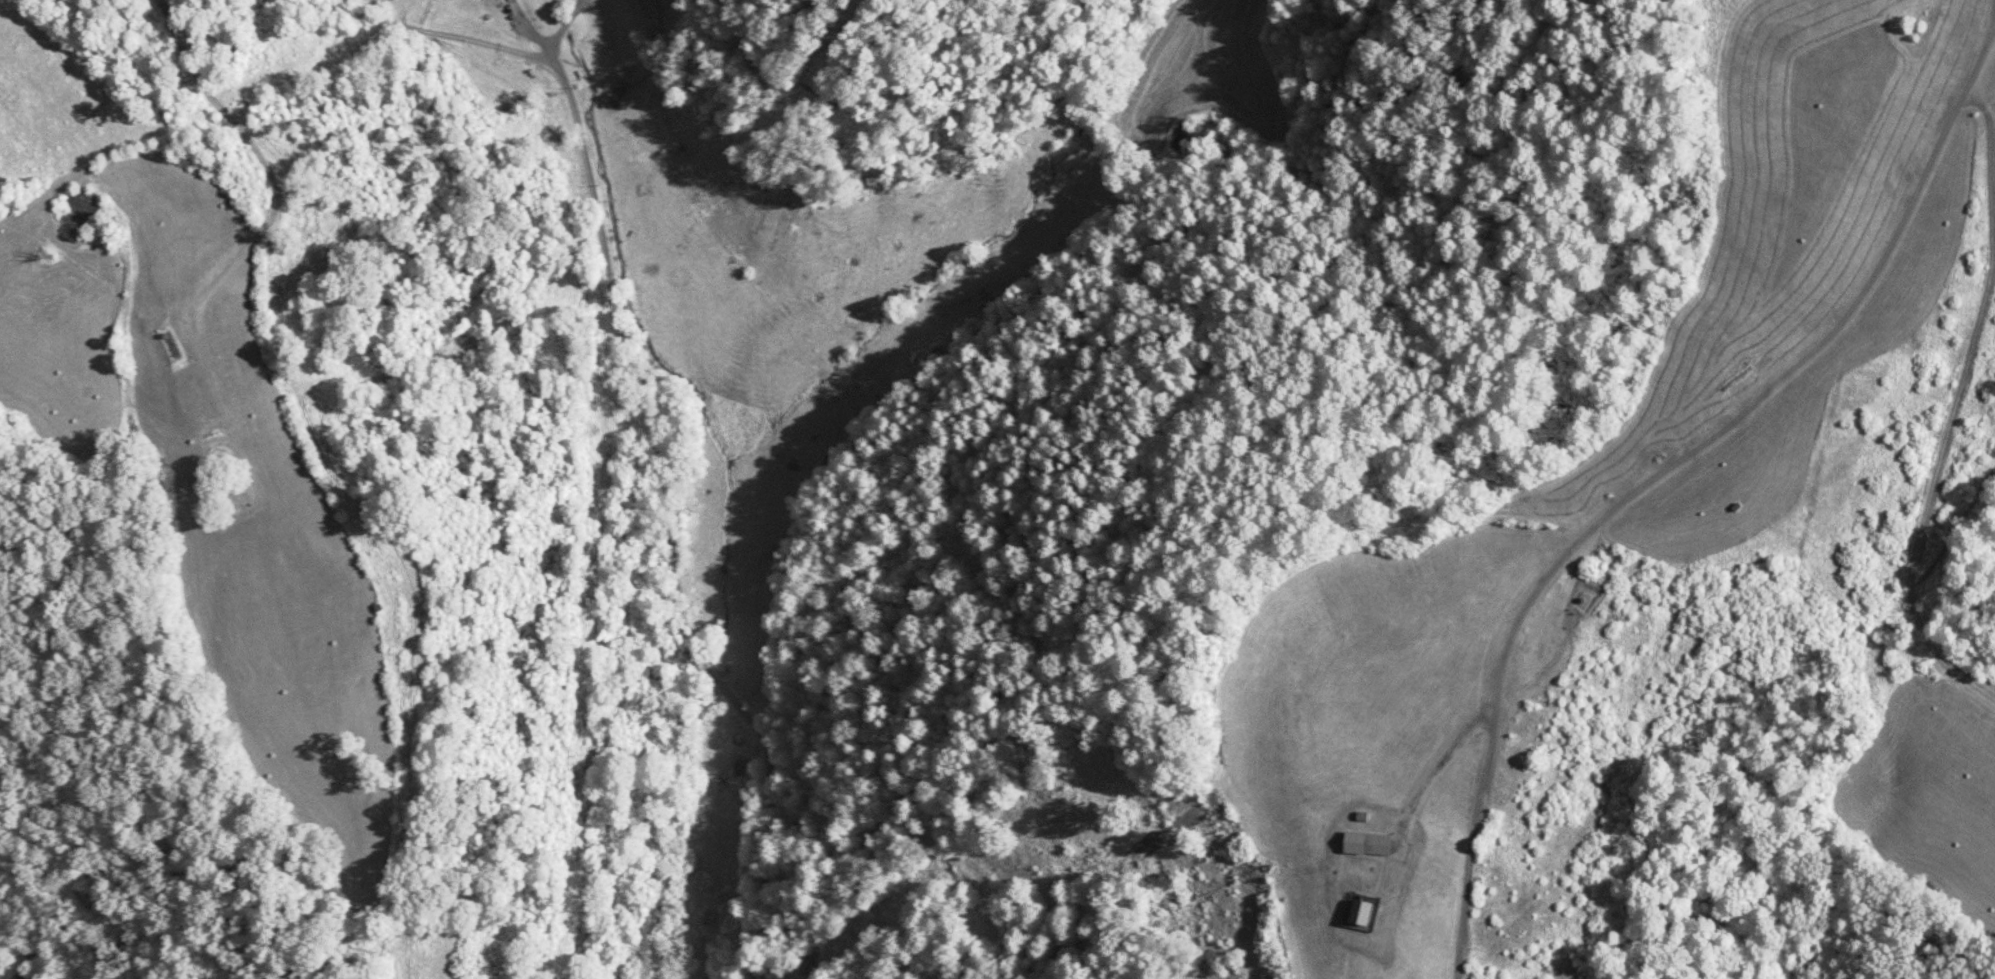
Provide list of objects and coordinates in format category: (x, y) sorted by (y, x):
road: (1978, 50)
road: (590, 354)
road: (867, 397)
road: (1944, 410)
road: (1621, 496)
road: (1429, 773)
building: (1352, 843)
building: (1379, 844)
building: (1362, 913)

